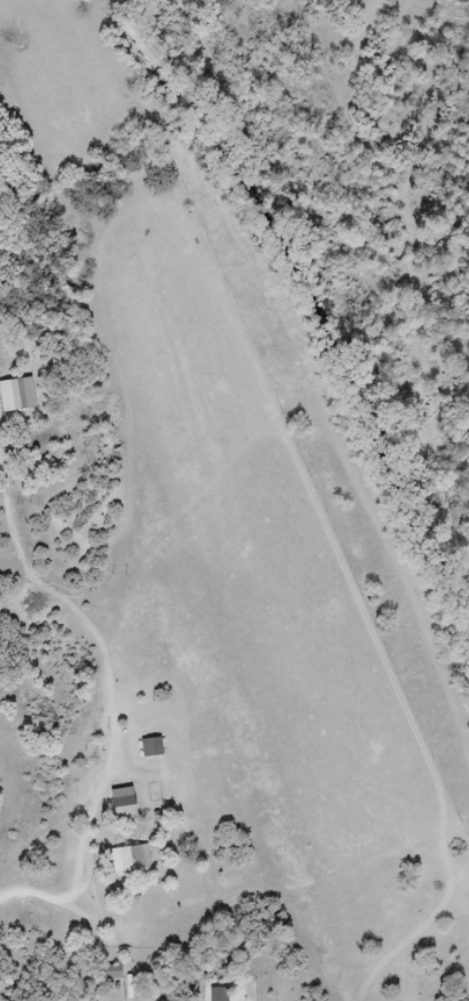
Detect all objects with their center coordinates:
building: (153, 748)
building: (125, 803)
building: (131, 860)
building: (114, 973)
building: (221, 994)

